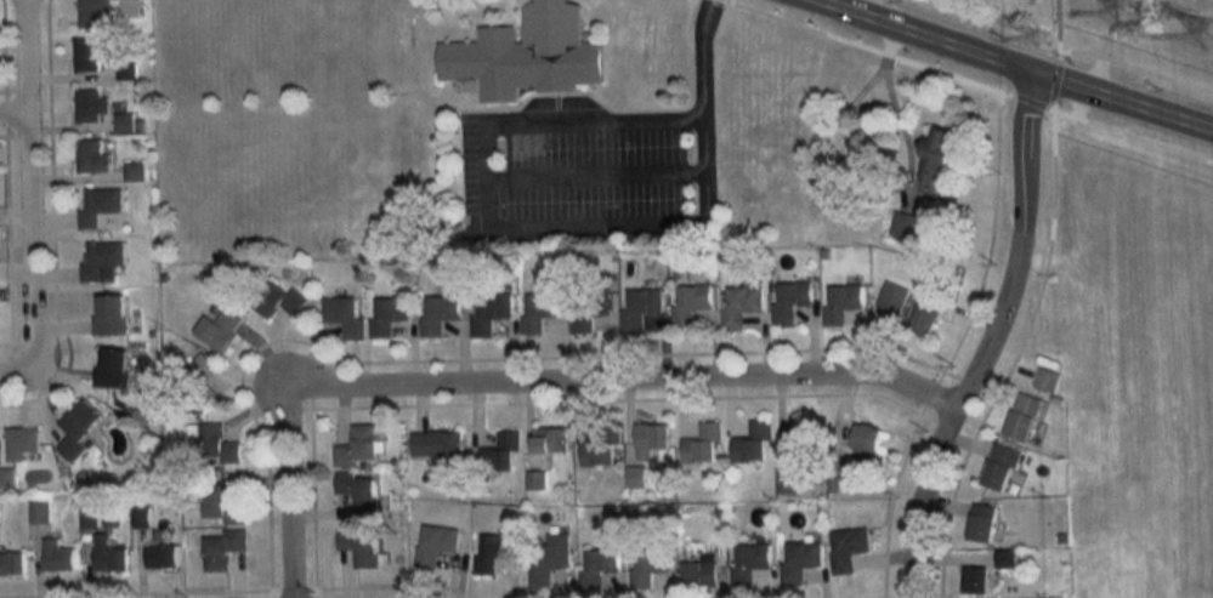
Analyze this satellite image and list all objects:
power tower: (1141, 4)
road: (866, 8)
building: (90, 12)
park: (304, 23)
power tower: (1044, 39)
road: (1064, 51)
building: (522, 53)
building: (84, 55)
road: (1013, 69)
road: (967, 81)
road: (561, 101)
building: (86, 106)
road: (701, 109)
road: (12, 112)
building: (127, 121)
building: (90, 155)
building: (922, 155)
park: (331, 169)
building: (132, 171)
road: (593, 173)
road: (482, 175)
road: (27, 182)
building: (100, 207)
building: (902, 224)
building: (101, 261)
building: (891, 294)
building: (790, 296)
building: (274, 300)
building: (686, 301)
building: (741, 301)
building: (843, 301)
building: (640, 306)
building: (586, 309)
building: (537, 312)
building: (341, 313)
building: (435, 313)
building: (387, 314)
building: (108, 317)
building: (484, 317)
building: (924, 317)
building: (217, 328)
road: (990, 341)
building: (110, 368)
road: (17, 370)
building: (1050, 375)
building: (193, 378)
road: (522, 386)
building: (1022, 416)
building: (76, 429)
building: (800, 431)
building: (863, 437)
building: (646, 438)
building: (548, 439)
building: (753, 439)
building: (701, 442)
building: (22, 443)
building: (432, 443)
building: (211, 444)
building: (353, 446)
building: (497, 452)
building: (595, 452)
building: (999, 465)
building: (636, 475)
building: (538, 479)
building: (788, 482)
building: (834, 483)
building: (359, 486)
building: (36, 512)
building: (140, 516)
building: (87, 518)
building: (982, 518)
building: (437, 543)
building: (219, 548)
building: (358, 548)
building: (845, 548)
building: (107, 554)
building: (488, 554)
building: (55, 556)
building: (159, 556)
building: (545, 557)
building: (1008, 558)
building: (746, 559)
building: (799, 559)
building: (11, 563)
building: (596, 565)
building: (641, 569)
building: (697, 575)
building: (975, 577)

